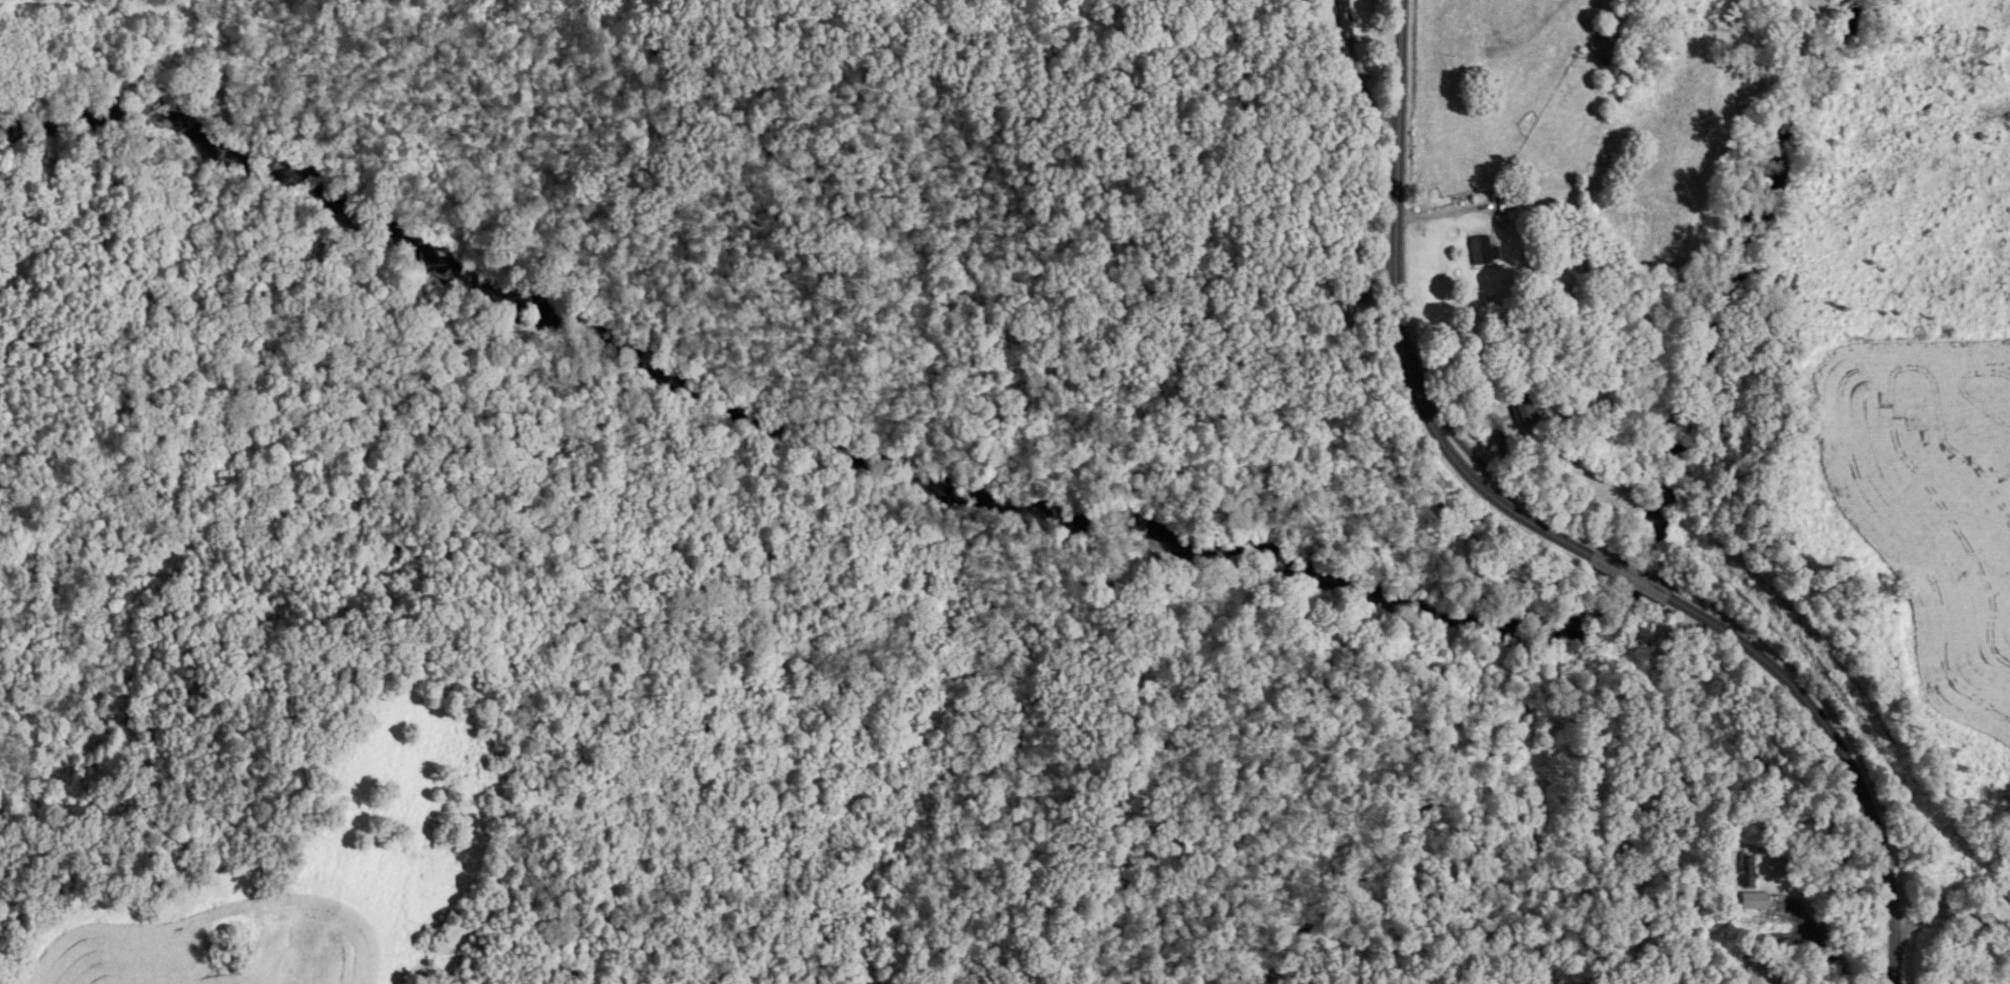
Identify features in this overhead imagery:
building: (1346, 15)
building: (1601, 43)
building: (1483, 252)
building: (1520, 413)
road: (1558, 537)
building: (1758, 901)
road: (1953, 912)
road: (1789, 933)

